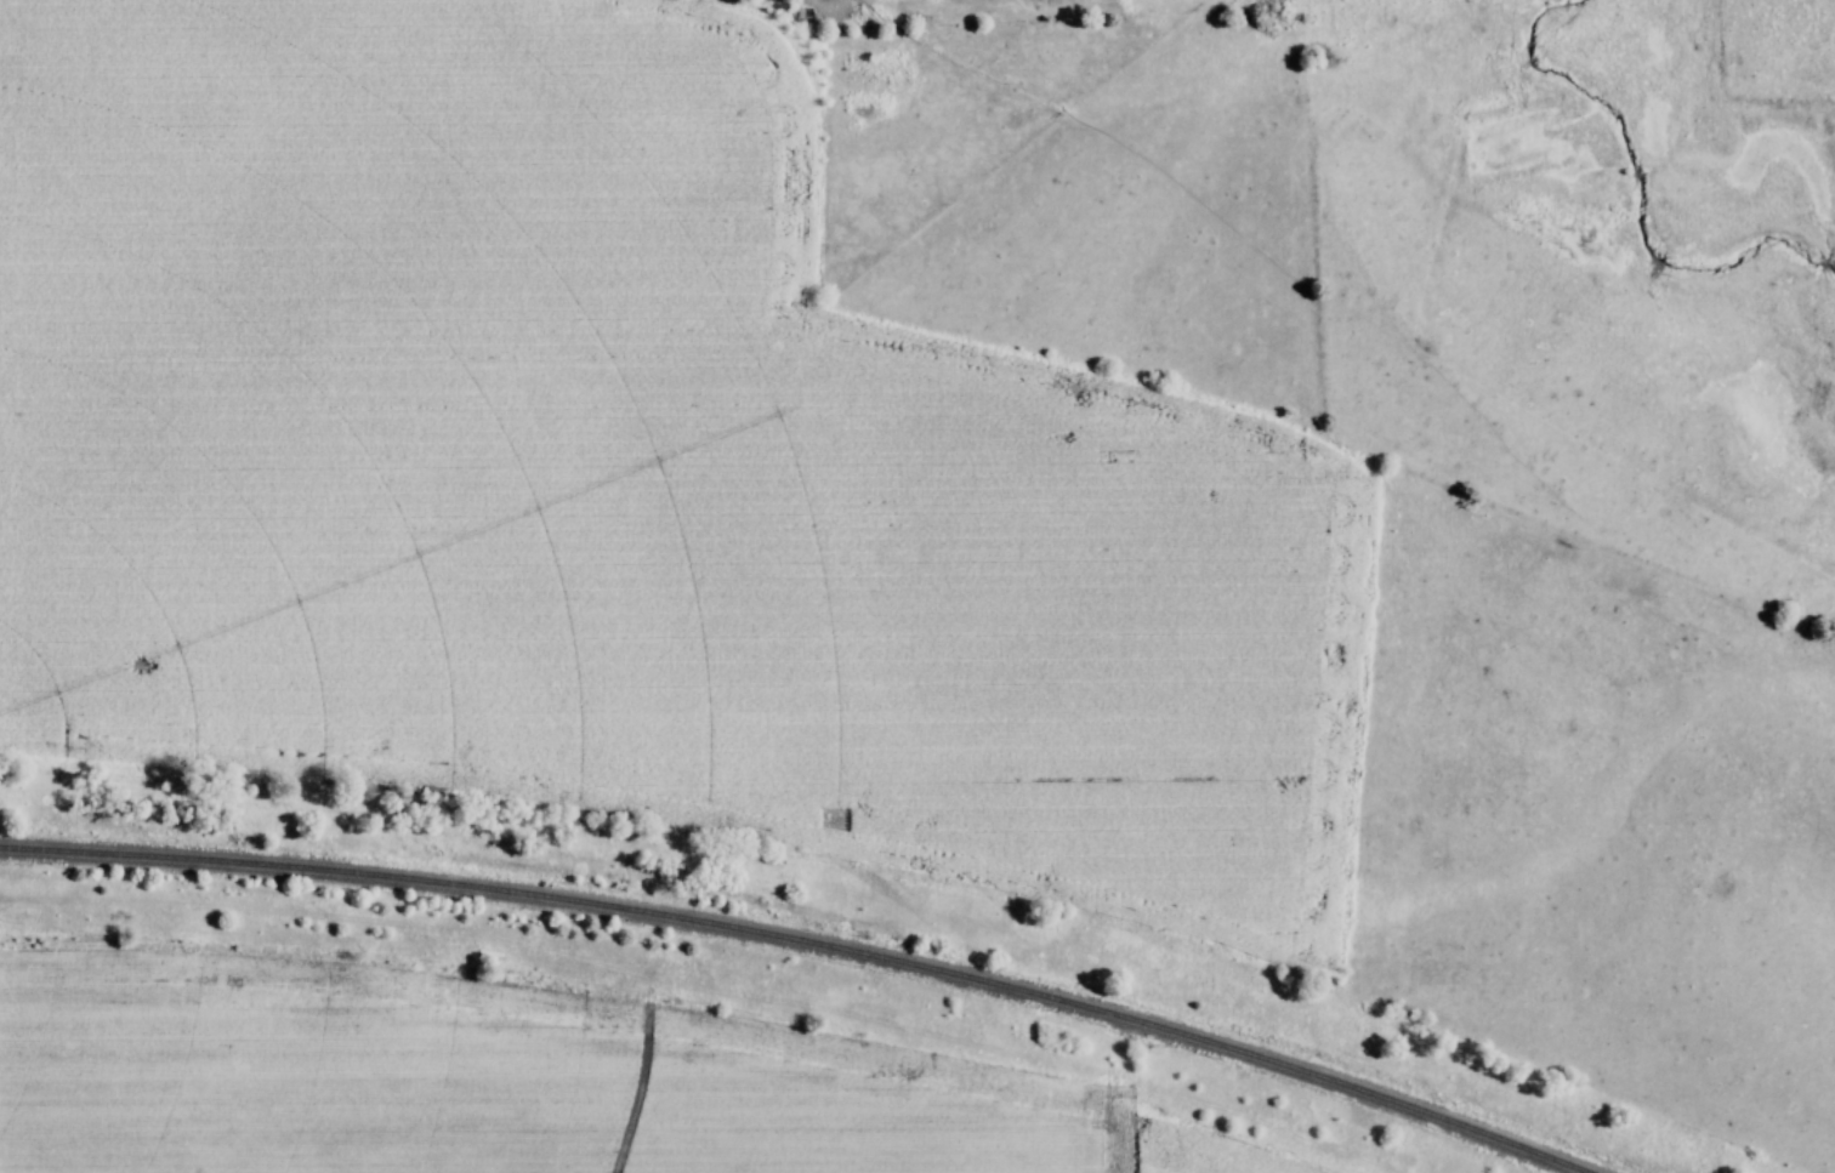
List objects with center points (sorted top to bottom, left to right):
railway: (809, 941)

